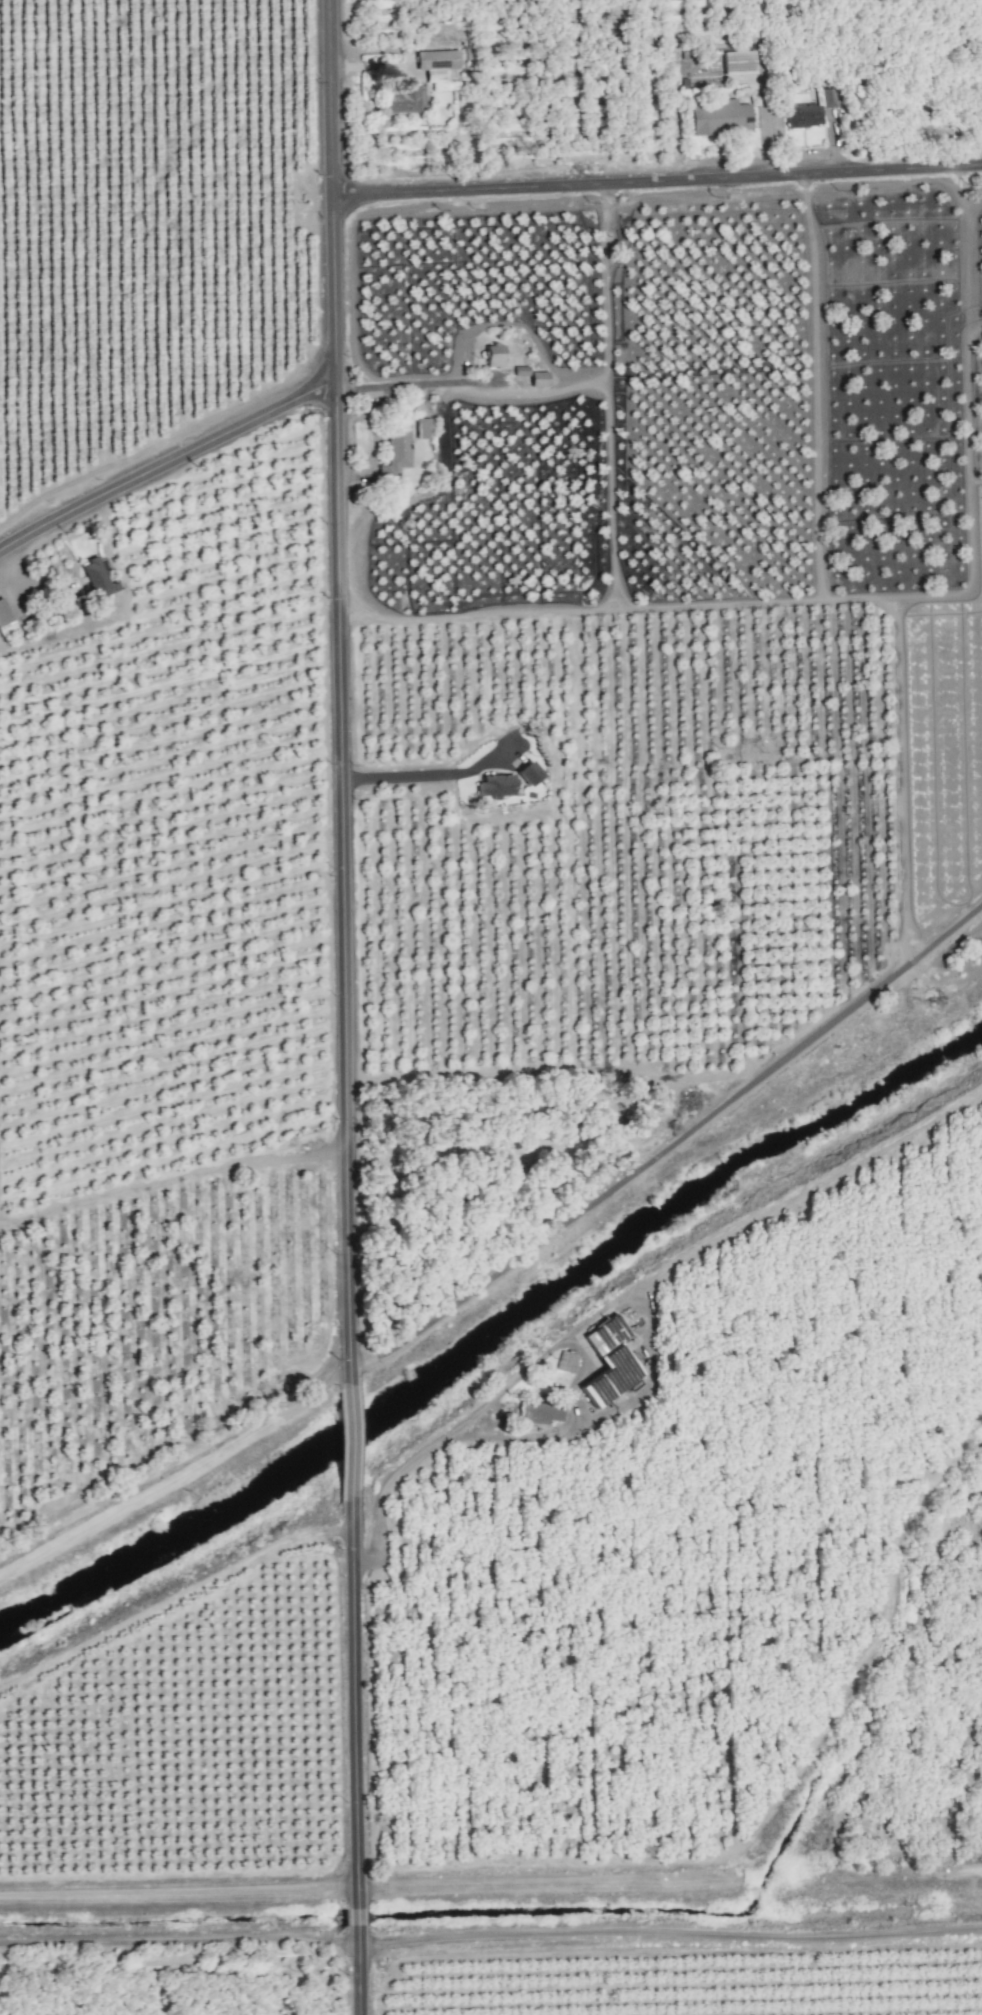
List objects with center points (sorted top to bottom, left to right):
building: (437, 62)
building: (740, 62)
building: (831, 97)
building: (406, 98)
building: (805, 115)
building: (721, 116)
road: (659, 174)
building: (495, 355)
building: (521, 370)
building: (539, 378)
road: (416, 385)
building: (423, 428)
building: (396, 451)
road: (179, 453)
building: (97, 578)
building: (5, 618)
road: (341, 676)
building: (530, 773)
road: (414, 779)
building: (496, 785)
building: (565, 1361)
building: (610, 1361)
building: (547, 1412)
road: (347, 1424)
road: (433, 1437)
road: (352, 1694)
road: (356, 1923)
road: (357, 1984)

